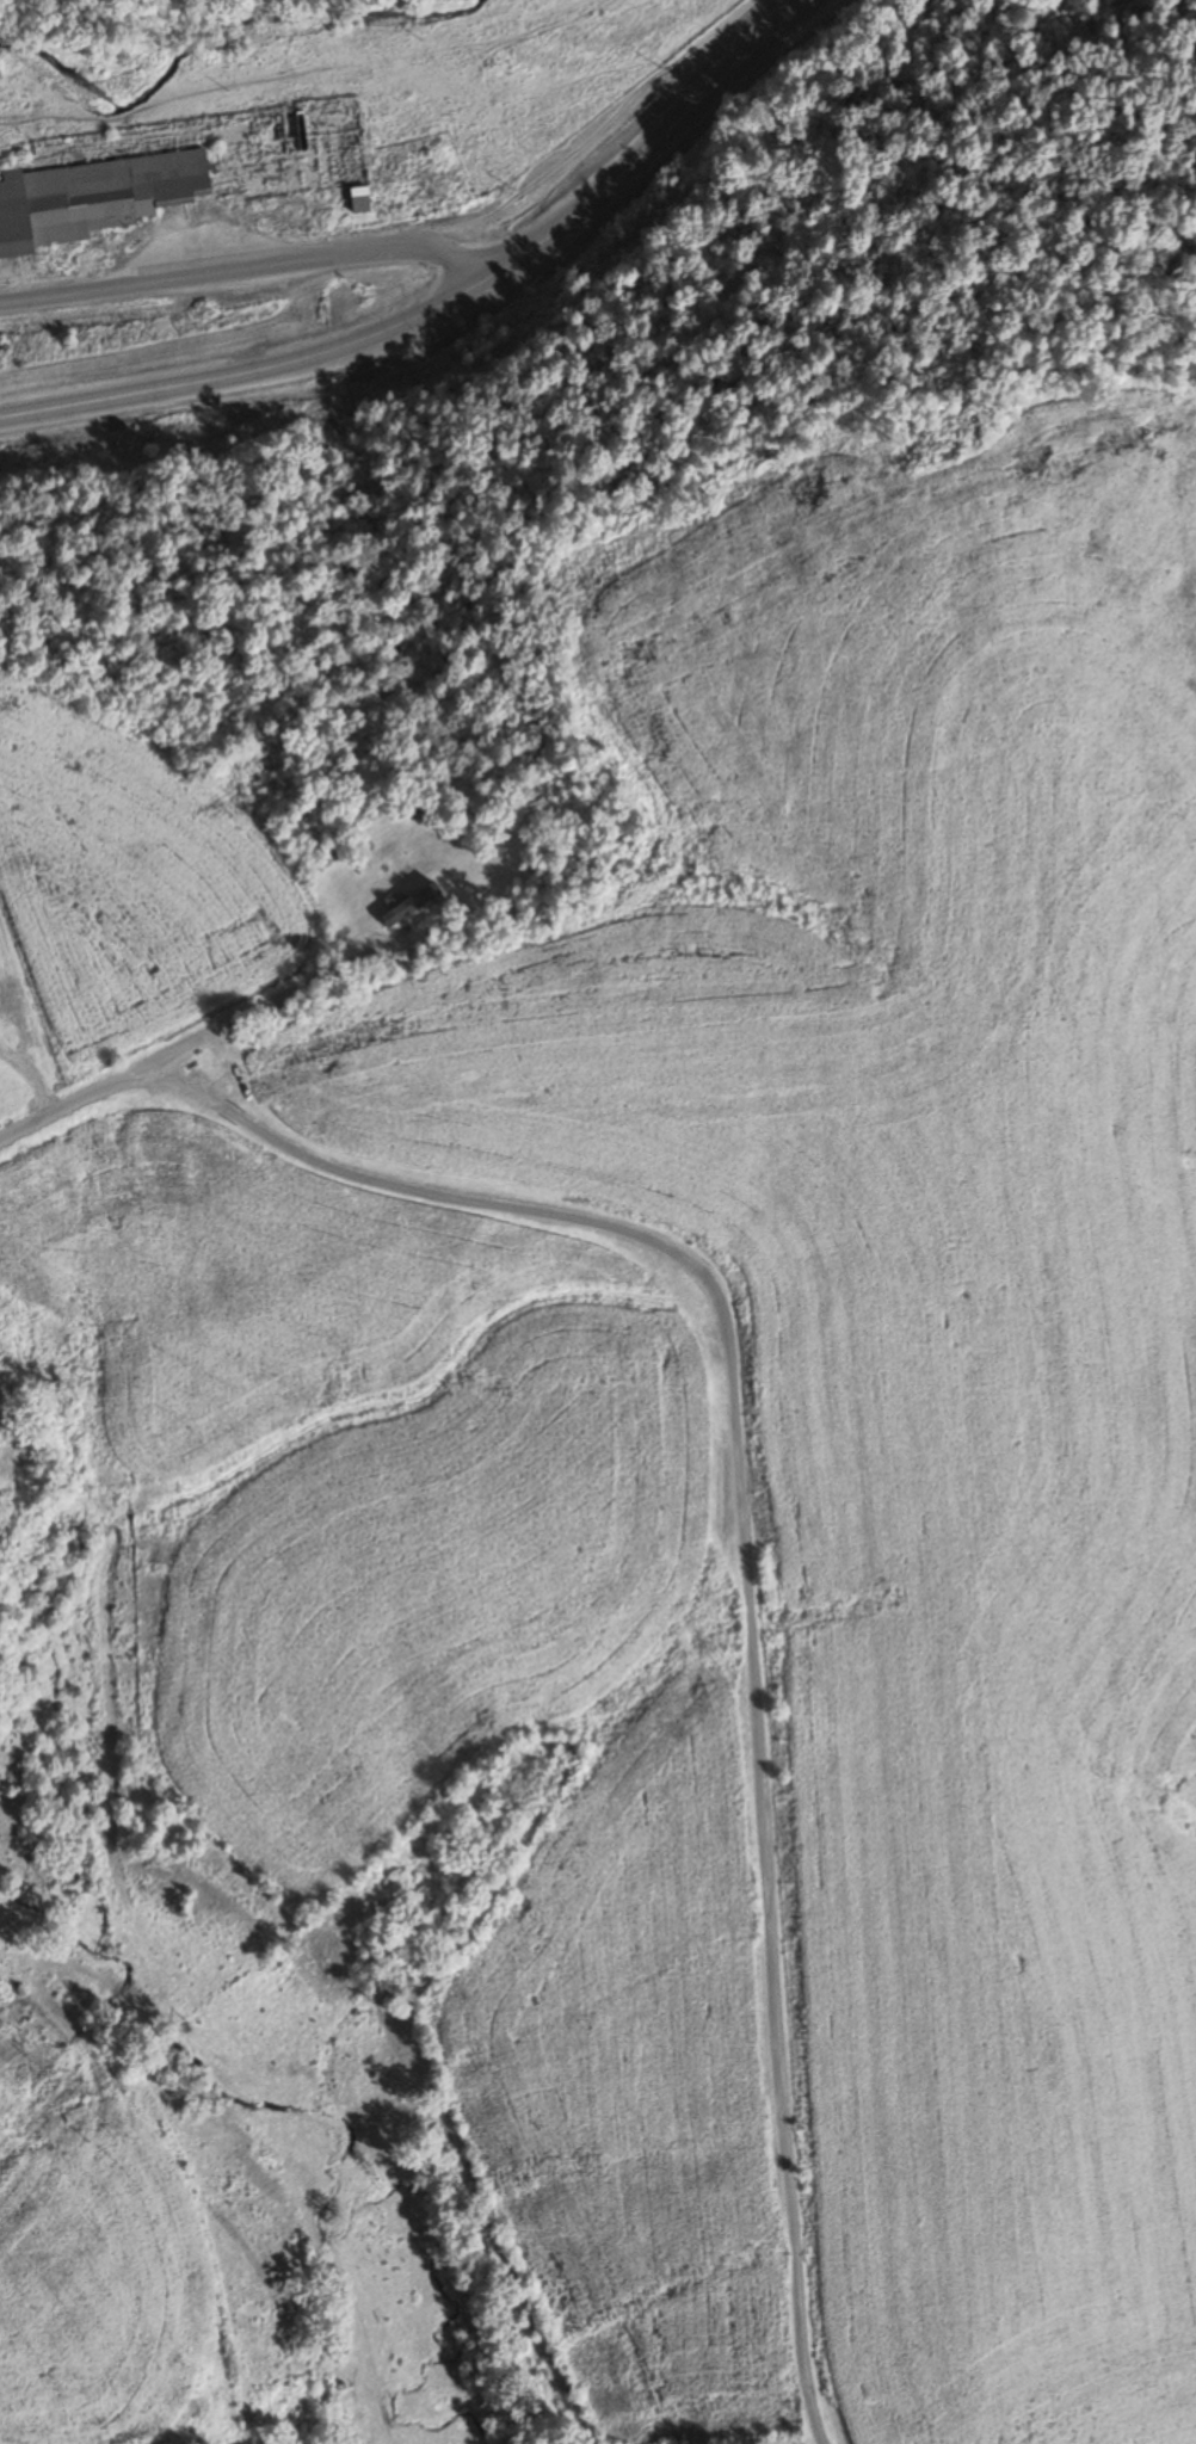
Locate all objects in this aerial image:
building: (92, 197)
building: (359, 198)
road: (254, 267)
road: (452, 303)
building: (412, 808)
building: (408, 902)
road: (266, 1004)
building: (14, 1017)
road: (315, 1156)

